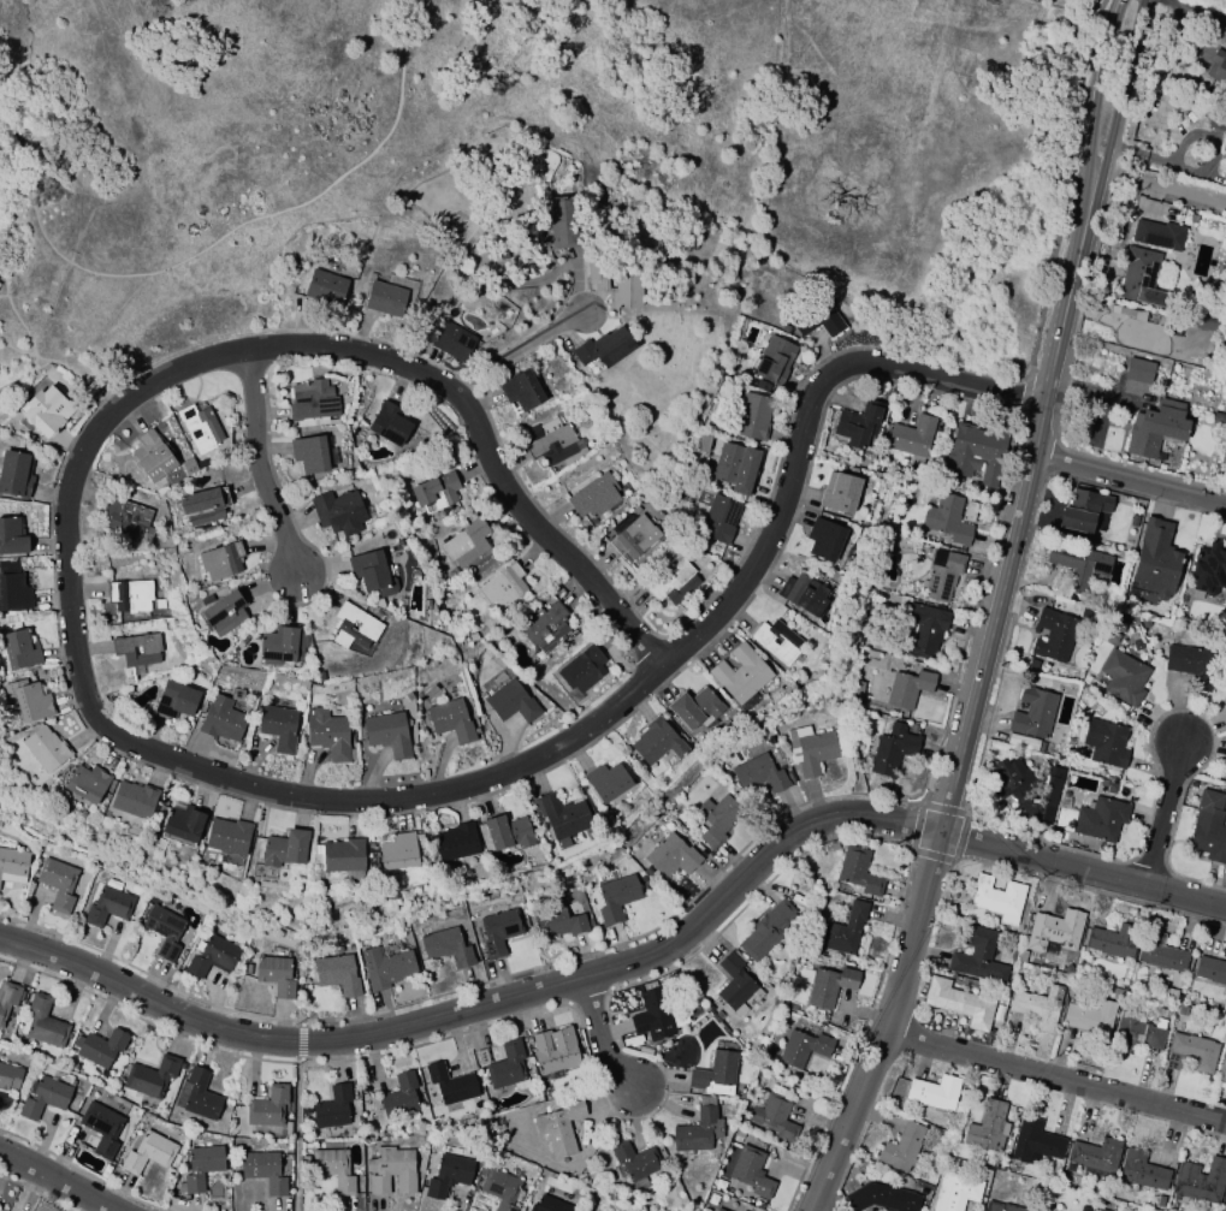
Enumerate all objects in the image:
road: (1183, 14)
building: (1218, 67)
building: (1216, 117)
building: (1224, 172)
road: (1161, 185)
park: (869, 214)
building: (562, 221)
building: (468, 235)
building: (1157, 235)
road: (158, 271)
building: (1142, 278)
building: (618, 280)
building: (325, 287)
building: (385, 299)
building: (818, 320)
building: (1197, 320)
building: (451, 342)
building: (603, 348)
building: (1222, 349)
road: (516, 352)
building: (774, 361)
road: (393, 366)
building: (1138, 370)
building: (520, 391)
building: (313, 403)
building: (45, 410)
road: (1040, 416)
building: (754, 417)
building: (1218, 417)
building: (389, 423)
building: (199, 427)
building: (858, 427)
building: (1155, 428)
building: (912, 437)
building: (552, 444)
building: (976, 452)
building: (309, 453)
building: (152, 455)
building: (1225, 457)
road: (253, 463)
building: (188, 465)
building: (1225, 465)
building: (736, 468)
building: (14, 473)
road: (1130, 477)
building: (436, 492)
building: (840, 493)
building: (593, 498)
building: (200, 510)
building: (1083, 510)
building: (334, 515)
building: (125, 517)
building: (947, 518)
building: (719, 520)
building: (1132, 520)
building: (12, 536)
building: (634, 539)
building: (824, 540)
building: (467, 545)
building: (1155, 559)
building: (220, 562)
building: (1078, 564)
building: (368, 568)
building: (1209, 568)
building: (943, 576)
building: (675, 582)
building: (504, 587)
building: (13, 593)
building: (804, 594)
building: (130, 596)
building: (224, 613)
building: (549, 624)
building: (1118, 624)
building: (355, 629)
building: (923, 631)
building: (1053, 634)
building: (776, 640)
building: (280, 646)
building: (138, 649)
building: (19, 651)
building: (485, 655)
building: (1191, 665)
building: (581, 671)
building: (740, 676)
building: (1124, 677)
building: (910, 685)
building: (176, 700)
building: (29, 702)
building: (511, 702)
building: (695, 708)
building: (1032, 713)
building: (221, 719)
building: (451, 720)
building: (278, 728)
building: (327, 734)
building: (386, 734)
building: (1021, 742)
building: (657, 743)
building: (1107, 744)
building: (45, 748)
road: (556, 748)
building: (894, 748)
building: (812, 752)
building: (759, 774)
building: (85, 783)
building: (605, 783)
building: (1008, 790)
building: (132, 800)
road: (1162, 813)
building: (559, 817)
building: (1092, 819)
building: (717, 820)
building: (180, 823)
building: (1209, 827)
building: (503, 835)
building: (226, 836)
building: (454, 843)
building: (284, 850)
building: (396, 853)
building: (340, 856)
building: (671, 857)
building: (12, 866)
road: (1084, 869)
building: (857, 872)
building: (59, 884)
building: (616, 898)
building: (999, 898)
building: (107, 907)
building: (561, 922)
building: (165, 931)
building: (769, 931)
building: (846, 931)
building: (499, 932)
building: (1049, 932)
building: (1113, 940)
building: (449, 946)
building: (1161, 952)
building: (213, 956)
building: (977, 956)
building: (387, 967)
building: (1210, 970)
building: (338, 974)
building: (276, 975)
building: (735, 983)
building: (829, 987)
building: (1169, 999)
road: (487, 1002)
building: (7, 1003)
building: (958, 1003)
building: (1038, 1007)
building: (1181, 1010)
building: (653, 1016)
building: (1089, 1017)
building: (43, 1023)
road: (889, 1026)
building: (1136, 1031)
road: (603, 1039)
building: (804, 1046)
building: (102, 1049)
building: (555, 1050)
building: (1191, 1052)
building: (508, 1067)
building: (1221, 1068)
road: (1058, 1073)
building: (716, 1074)
building: (10, 1078)
building: (152, 1078)
building: (451, 1086)
building: (934, 1092)
building: (199, 1096)
building: (45, 1097)
building: (402, 1097)
building: (270, 1109)
building: (334, 1109)
building: (772, 1115)
building: (988, 1127)
building: (103, 1128)
road: (298, 1128)
building: (561, 1128)
building: (698, 1132)
building: (1035, 1142)
building: (902, 1147)
building: (148, 1153)
building: (1094, 1156)
building: (635, 1162)
building: (201, 1167)
building: (334, 1169)
building: (1141, 1170)
building: (265, 1171)
building: (393, 1173)
building: (752, 1174)
building: (448, 1176)
road: (58, 1180)
building: (1200, 1180)
building: (503, 1189)
building: (954, 1192)
building: (878, 1197)
building: (551, 1201)
building: (1159, 1201)
building: (1225, 1203)
building: (1002, 1206)
building: (719, 1210)
building: (1098, 1210)

